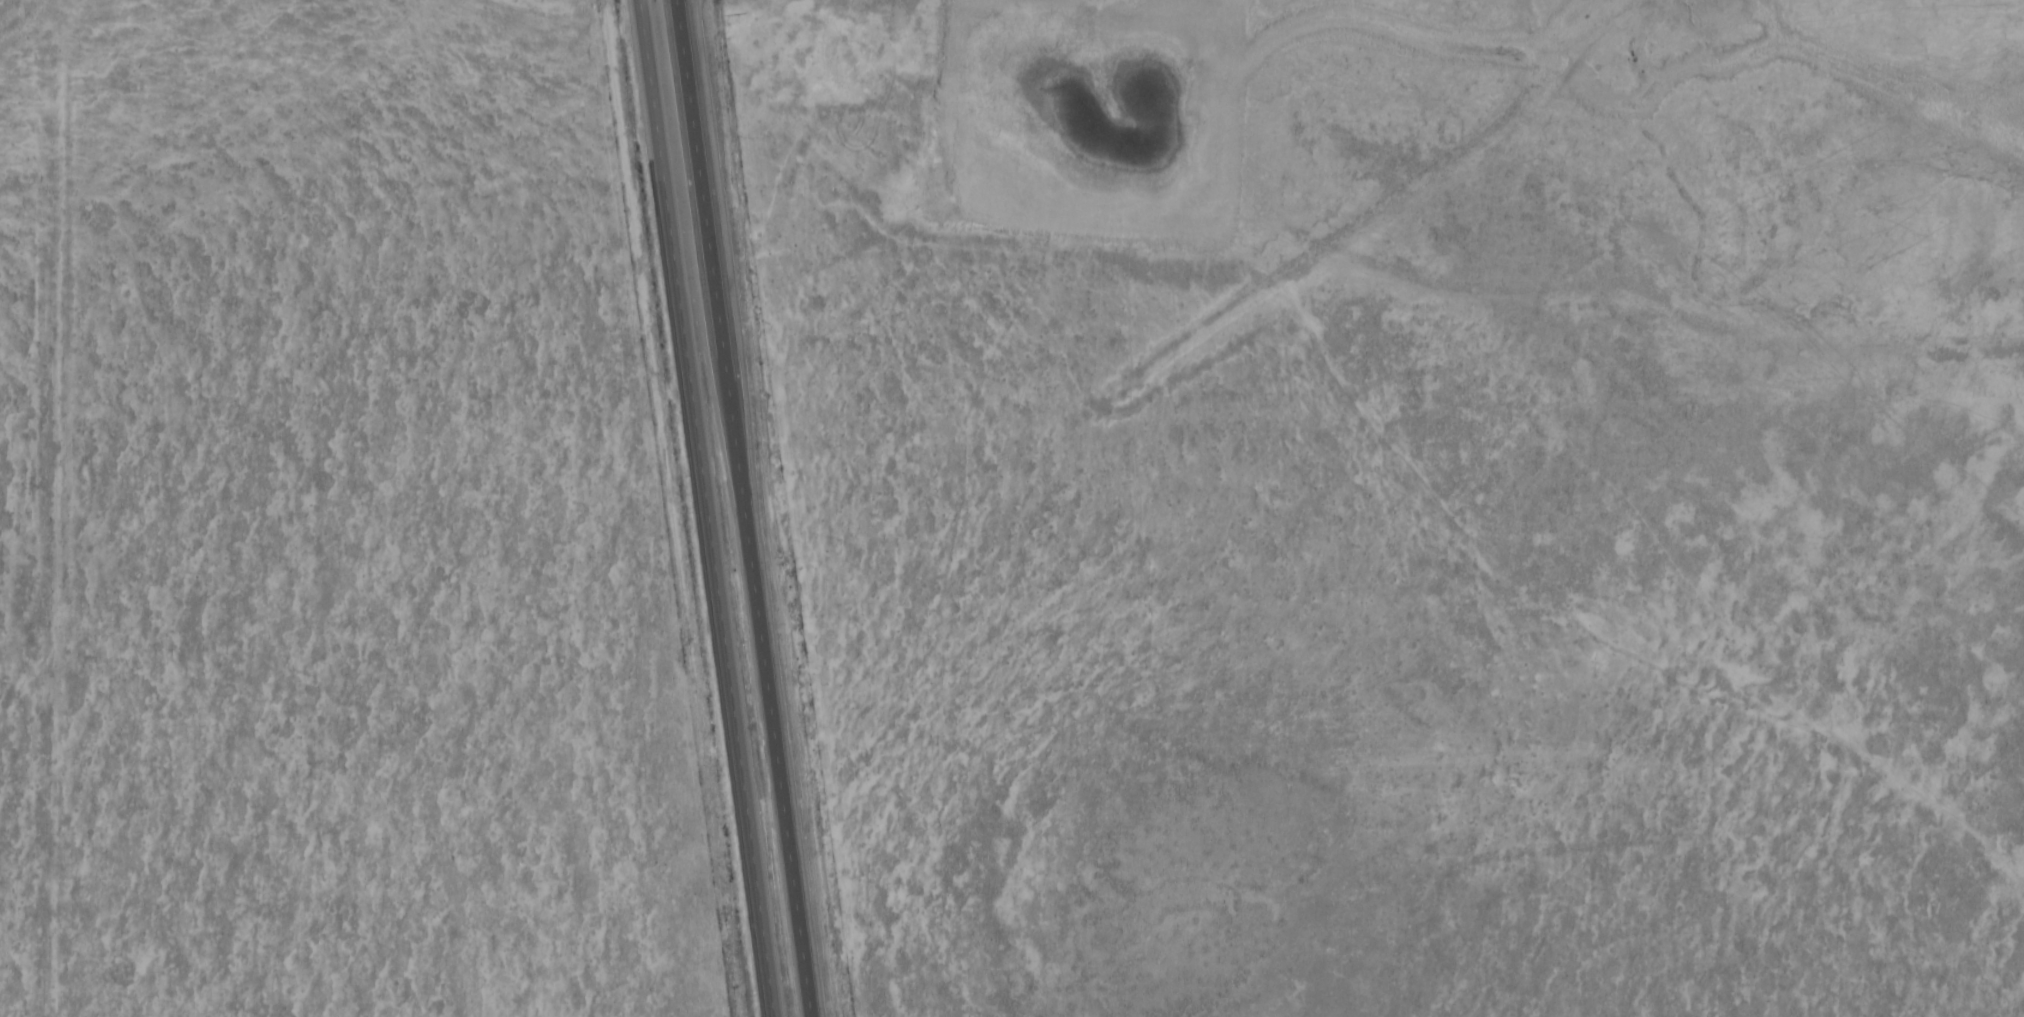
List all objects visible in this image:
road: (704, 508)
road: (747, 508)

